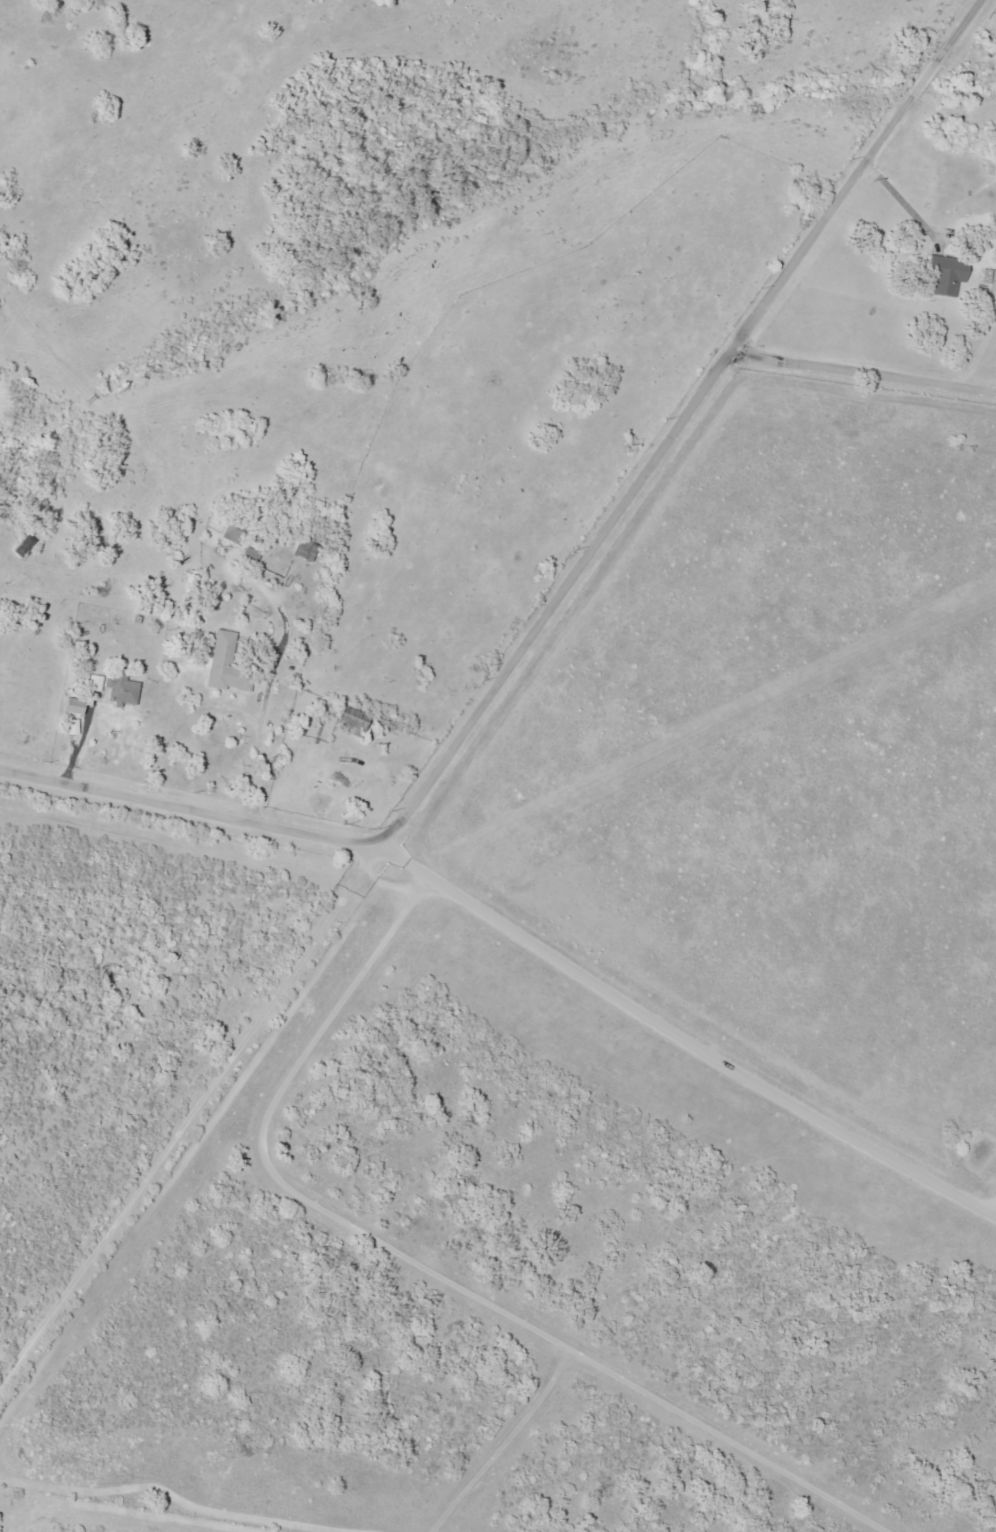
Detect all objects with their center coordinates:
road: (853, 176)
building: (943, 272)
building: (981, 277)
road: (863, 374)
building: (229, 534)
building: (309, 551)
building: (299, 552)
building: (253, 556)
road: (554, 600)
building: (226, 661)
building: (289, 679)
building: (89, 684)
building: (98, 685)
building: (118, 690)
building: (68, 703)
building: (82, 707)
building: (343, 722)
road: (188, 807)
road: (687, 1033)
road: (198, 1141)

